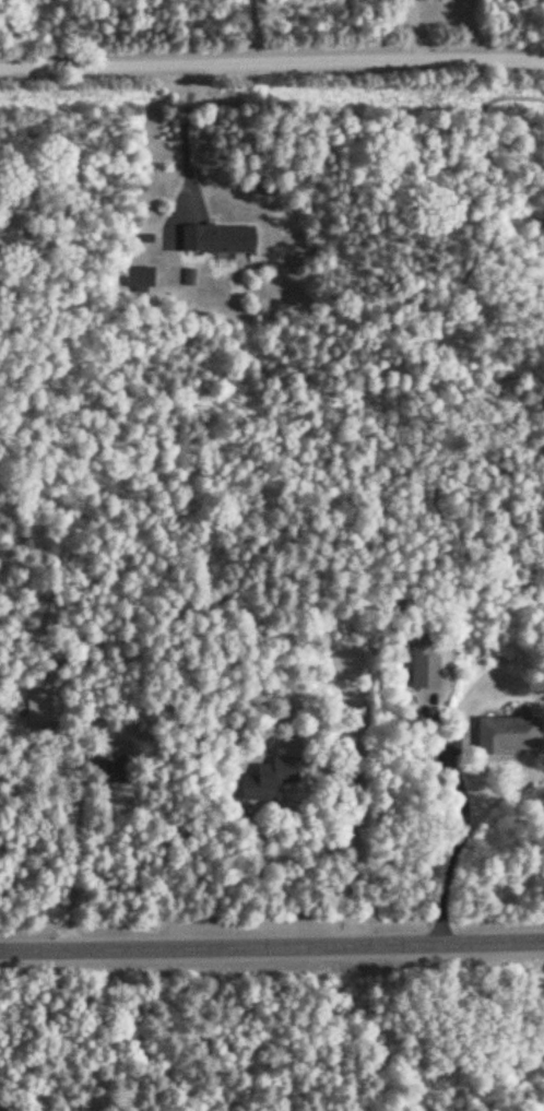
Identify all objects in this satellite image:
road: (426, 28)
road: (271, 59)
building: (217, 237)
building: (141, 274)
building: (424, 664)
building: (43, 702)
building: (508, 733)
building: (106, 763)
building: (268, 776)
road: (272, 943)
airport: (22, 1104)

